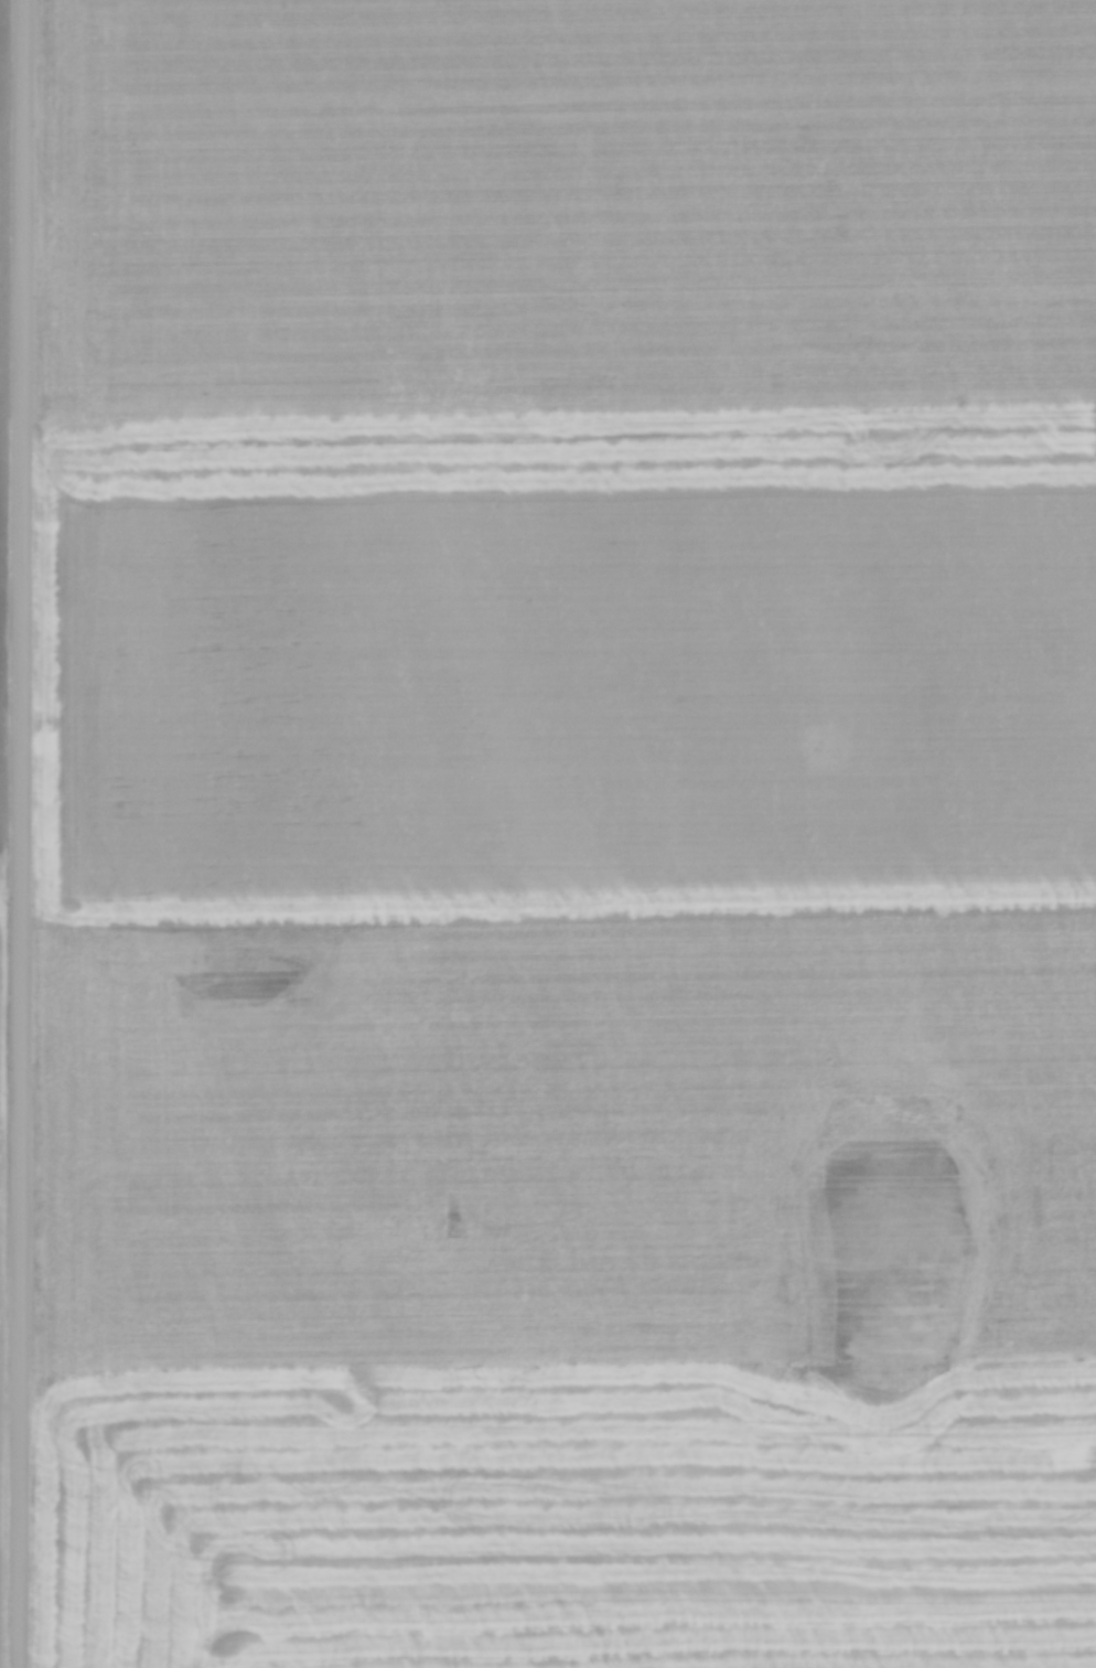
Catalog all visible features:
crop: (2, 645)
road: (26, 834)
crop: (569, 834)

